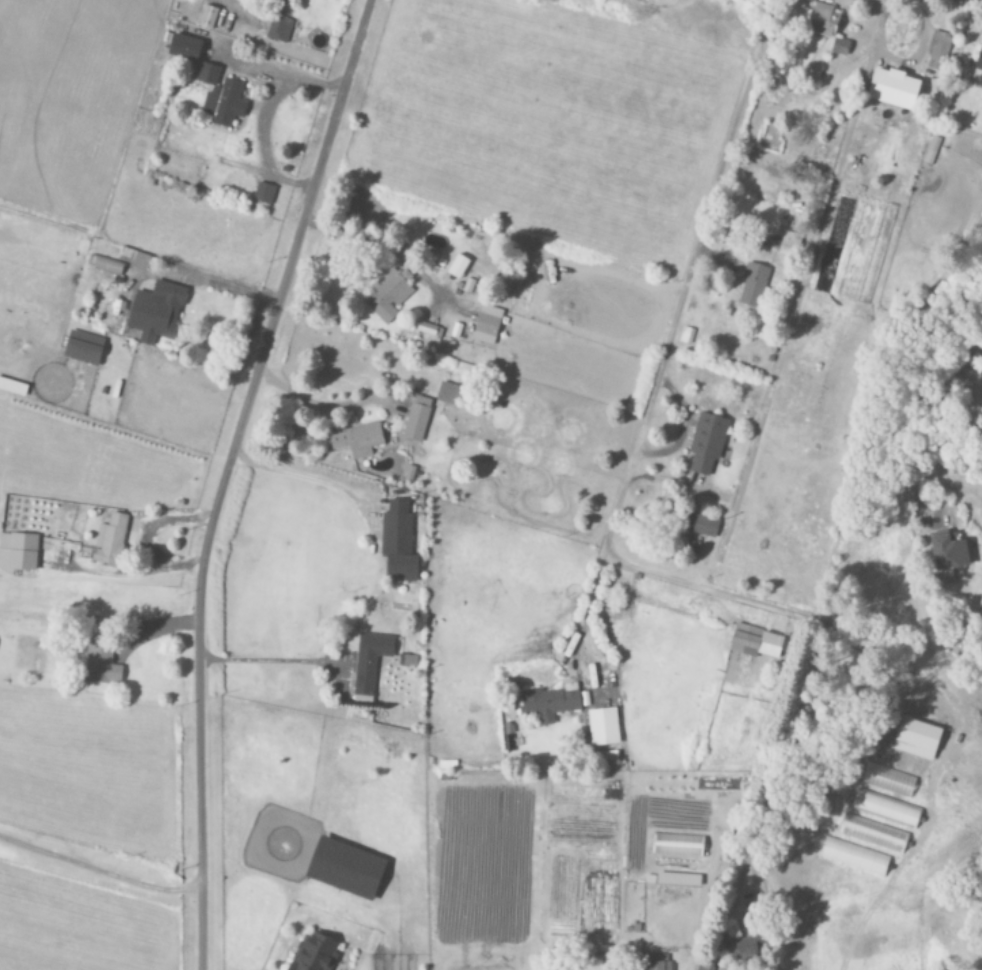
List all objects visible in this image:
building: (208, 17)
building: (822, 21)
building: (279, 29)
building: (839, 48)
building: (183, 49)
building: (938, 51)
building: (979, 64)
road: (283, 82)
building: (892, 89)
building: (220, 98)
road: (264, 149)
building: (263, 194)
building: (789, 244)
building: (140, 262)
building: (457, 268)
building: (752, 286)
road: (219, 287)
building: (388, 295)
building: (155, 313)
building: (486, 325)
building: (82, 348)
road: (666, 351)
building: (446, 394)
road: (330, 408)
building: (416, 420)
building: (356, 442)
building: (706, 443)
road: (227, 475)
road: (312, 483)
building: (701, 526)
road: (149, 535)
building: (109, 540)
building: (398, 543)
building: (18, 551)
building: (946, 551)
road: (778, 618)
road: (164, 634)
building: (754, 642)
building: (100, 662)
road: (267, 663)
building: (369, 666)
building: (549, 704)
building: (603, 727)
building: (915, 739)
building: (885, 809)
building: (873, 834)
building: (677, 846)
building: (853, 857)
building: (343, 868)
road: (99, 870)
building: (313, 953)
building: (655, 963)

